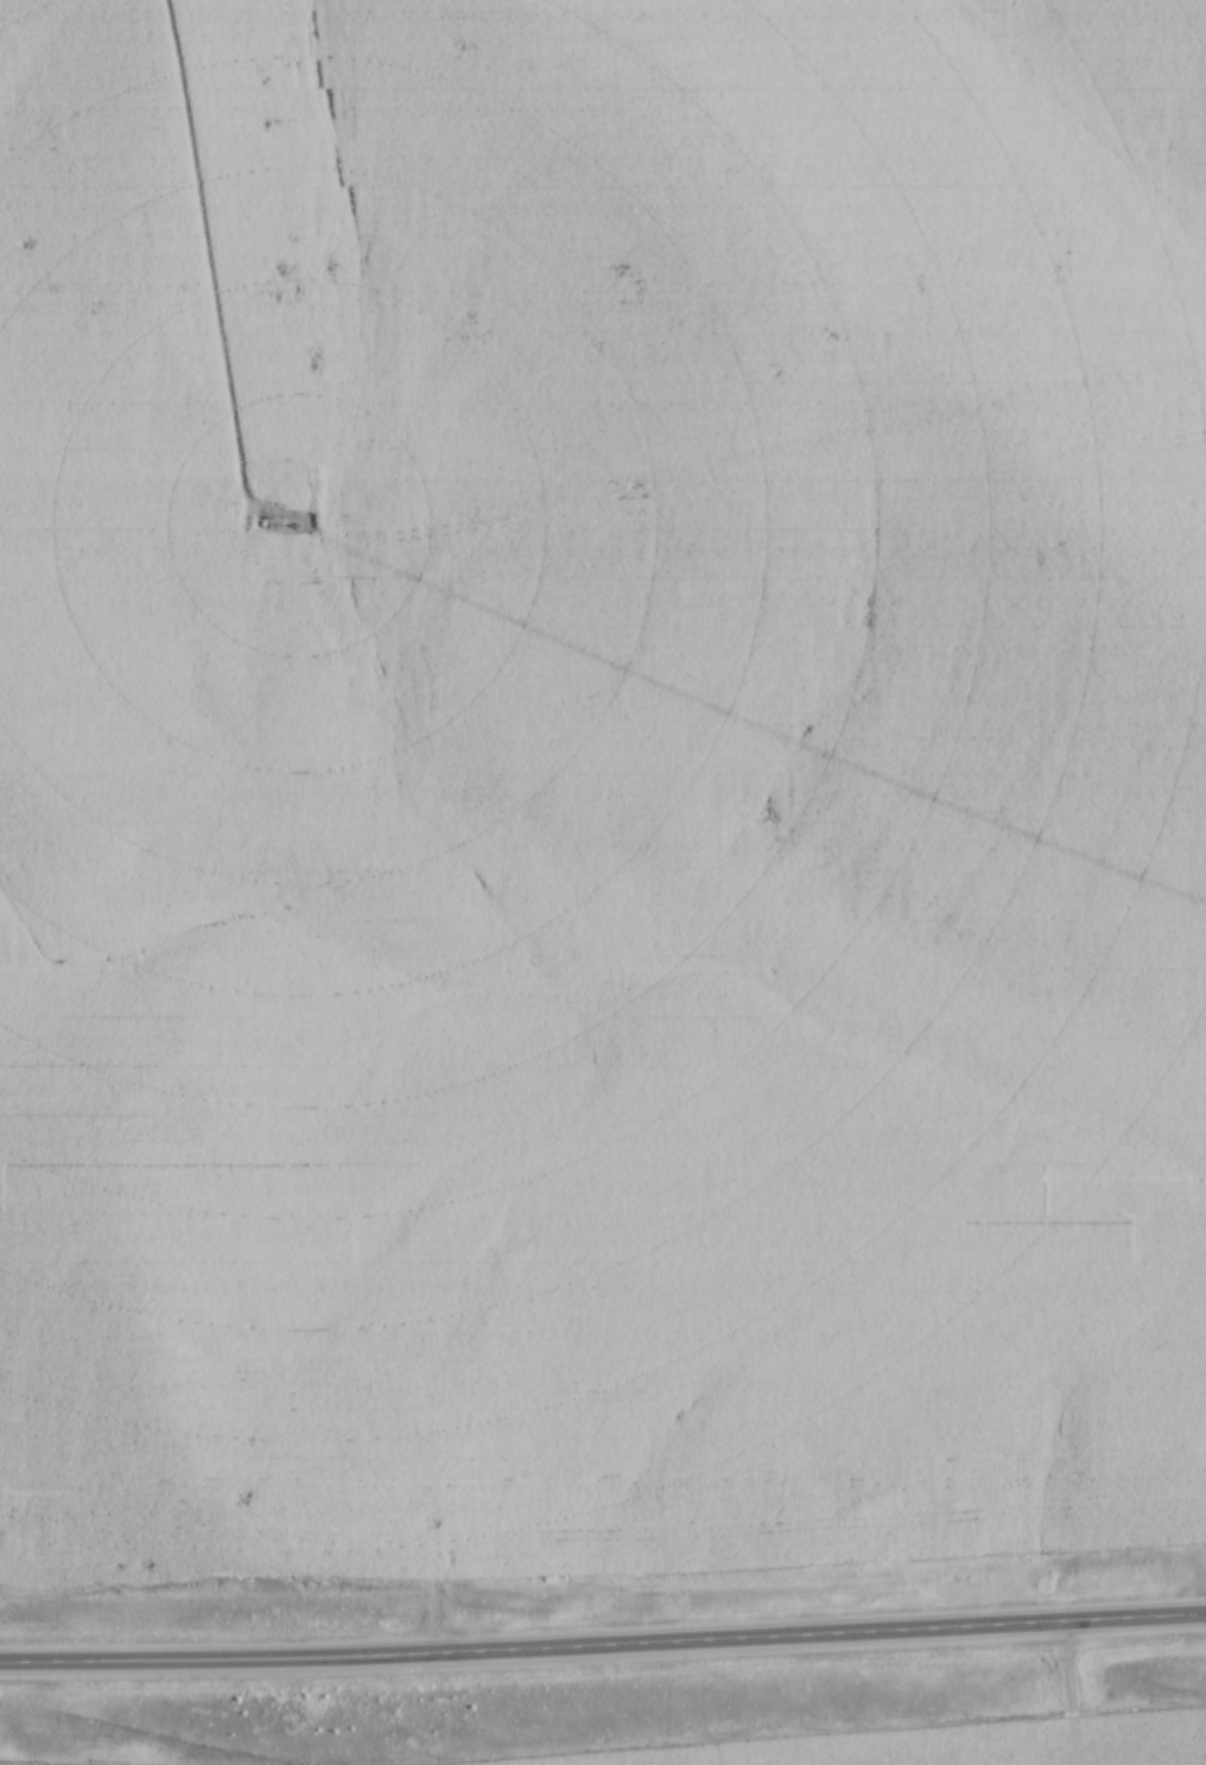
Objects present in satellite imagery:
road: (210, 249)
road: (603, 1656)

